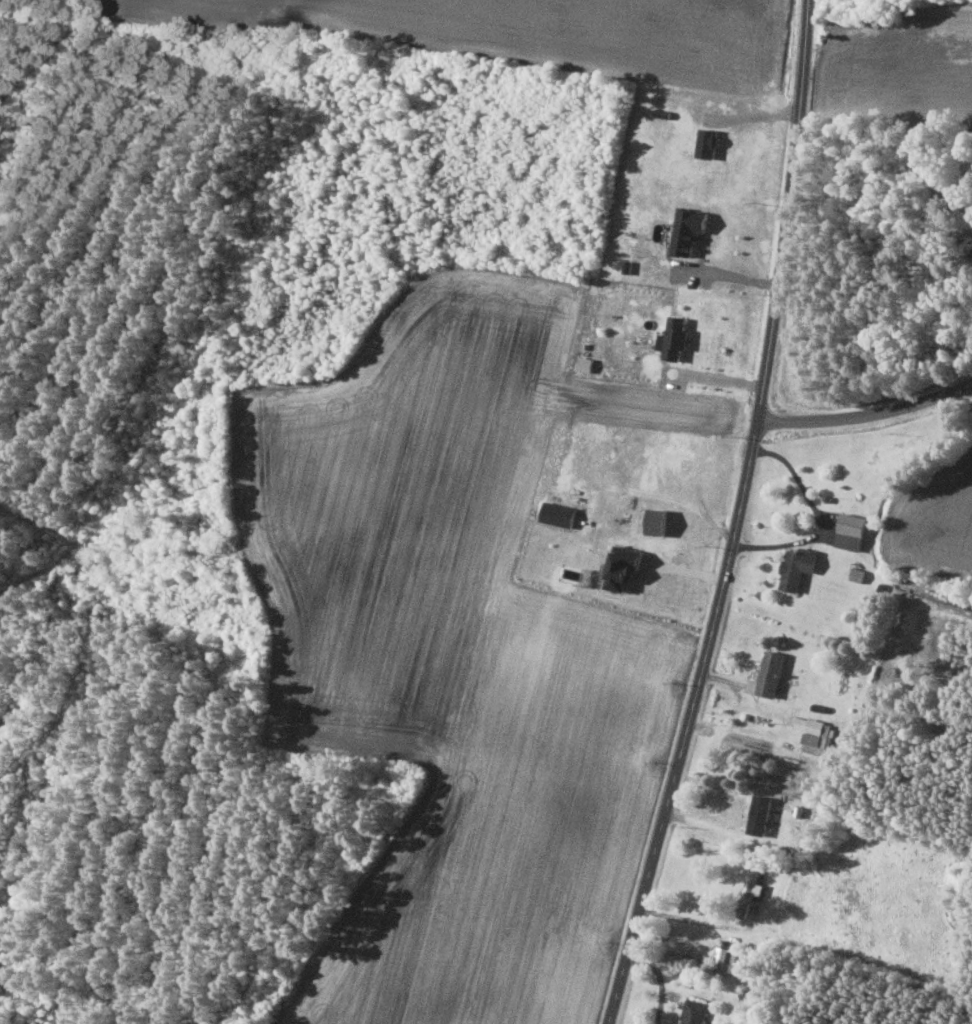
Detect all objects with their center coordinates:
building: (707, 142)
building: (688, 229)
building: (675, 336)
road: (868, 413)
building: (558, 513)
road: (738, 517)
building: (656, 520)
building: (850, 530)
building: (622, 567)
building: (797, 567)
road: (688, 570)
building: (768, 674)
building: (813, 734)
building: (761, 814)
building: (721, 954)
building: (694, 1012)

